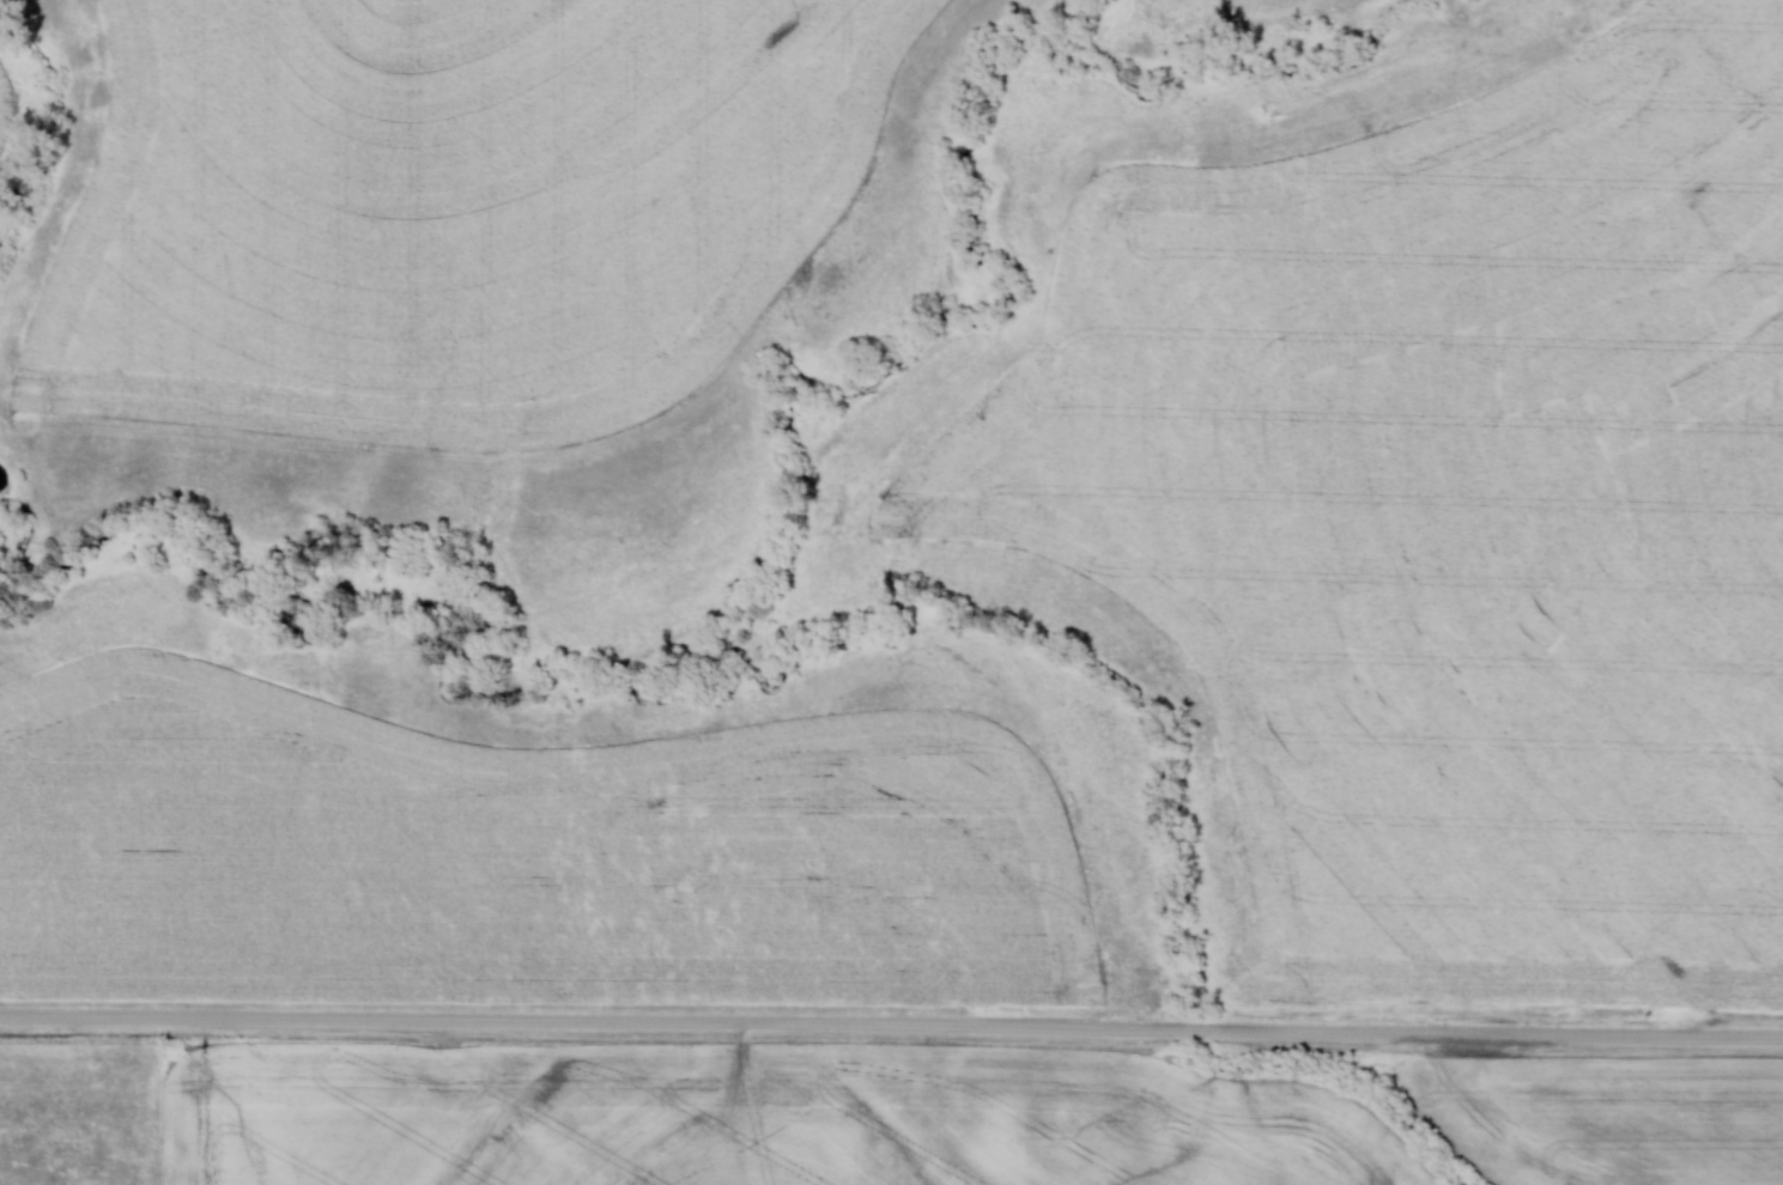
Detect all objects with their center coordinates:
road: (891, 1026)

